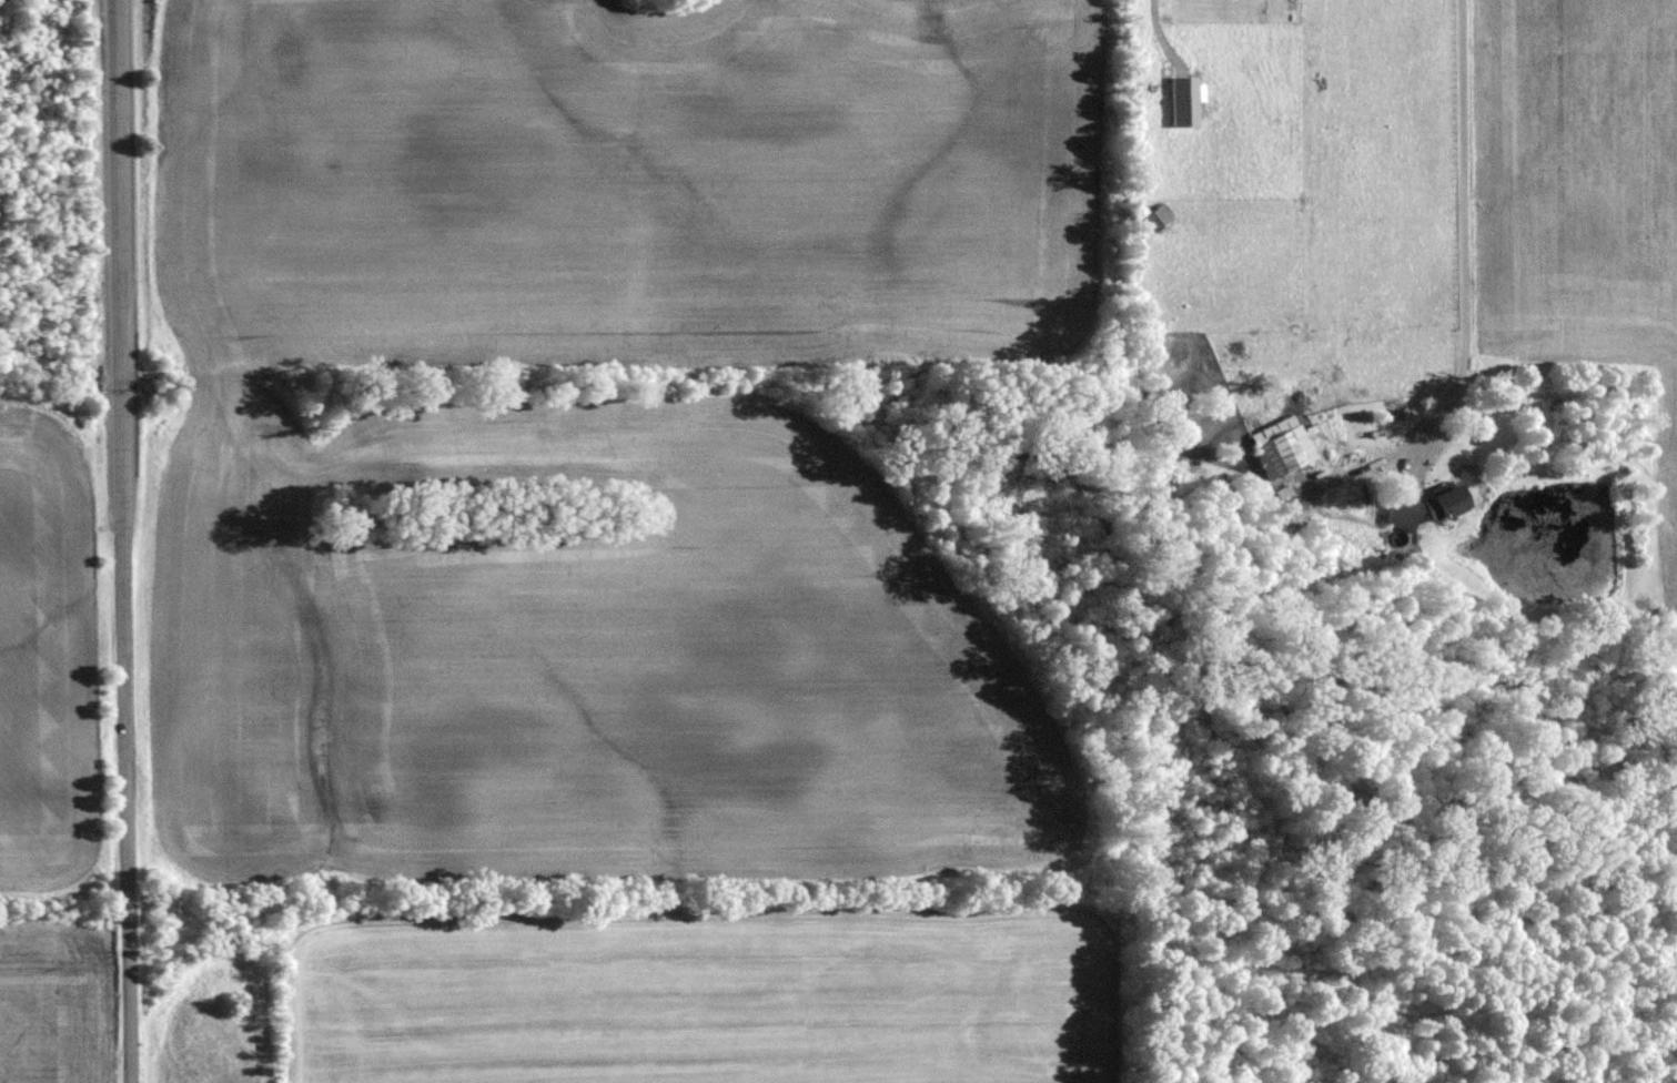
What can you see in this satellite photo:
road: (1156, 30)
building: (1184, 99)
road: (1464, 236)
building: (1284, 443)
building: (1443, 499)
building: (1403, 512)
road: (123, 540)

